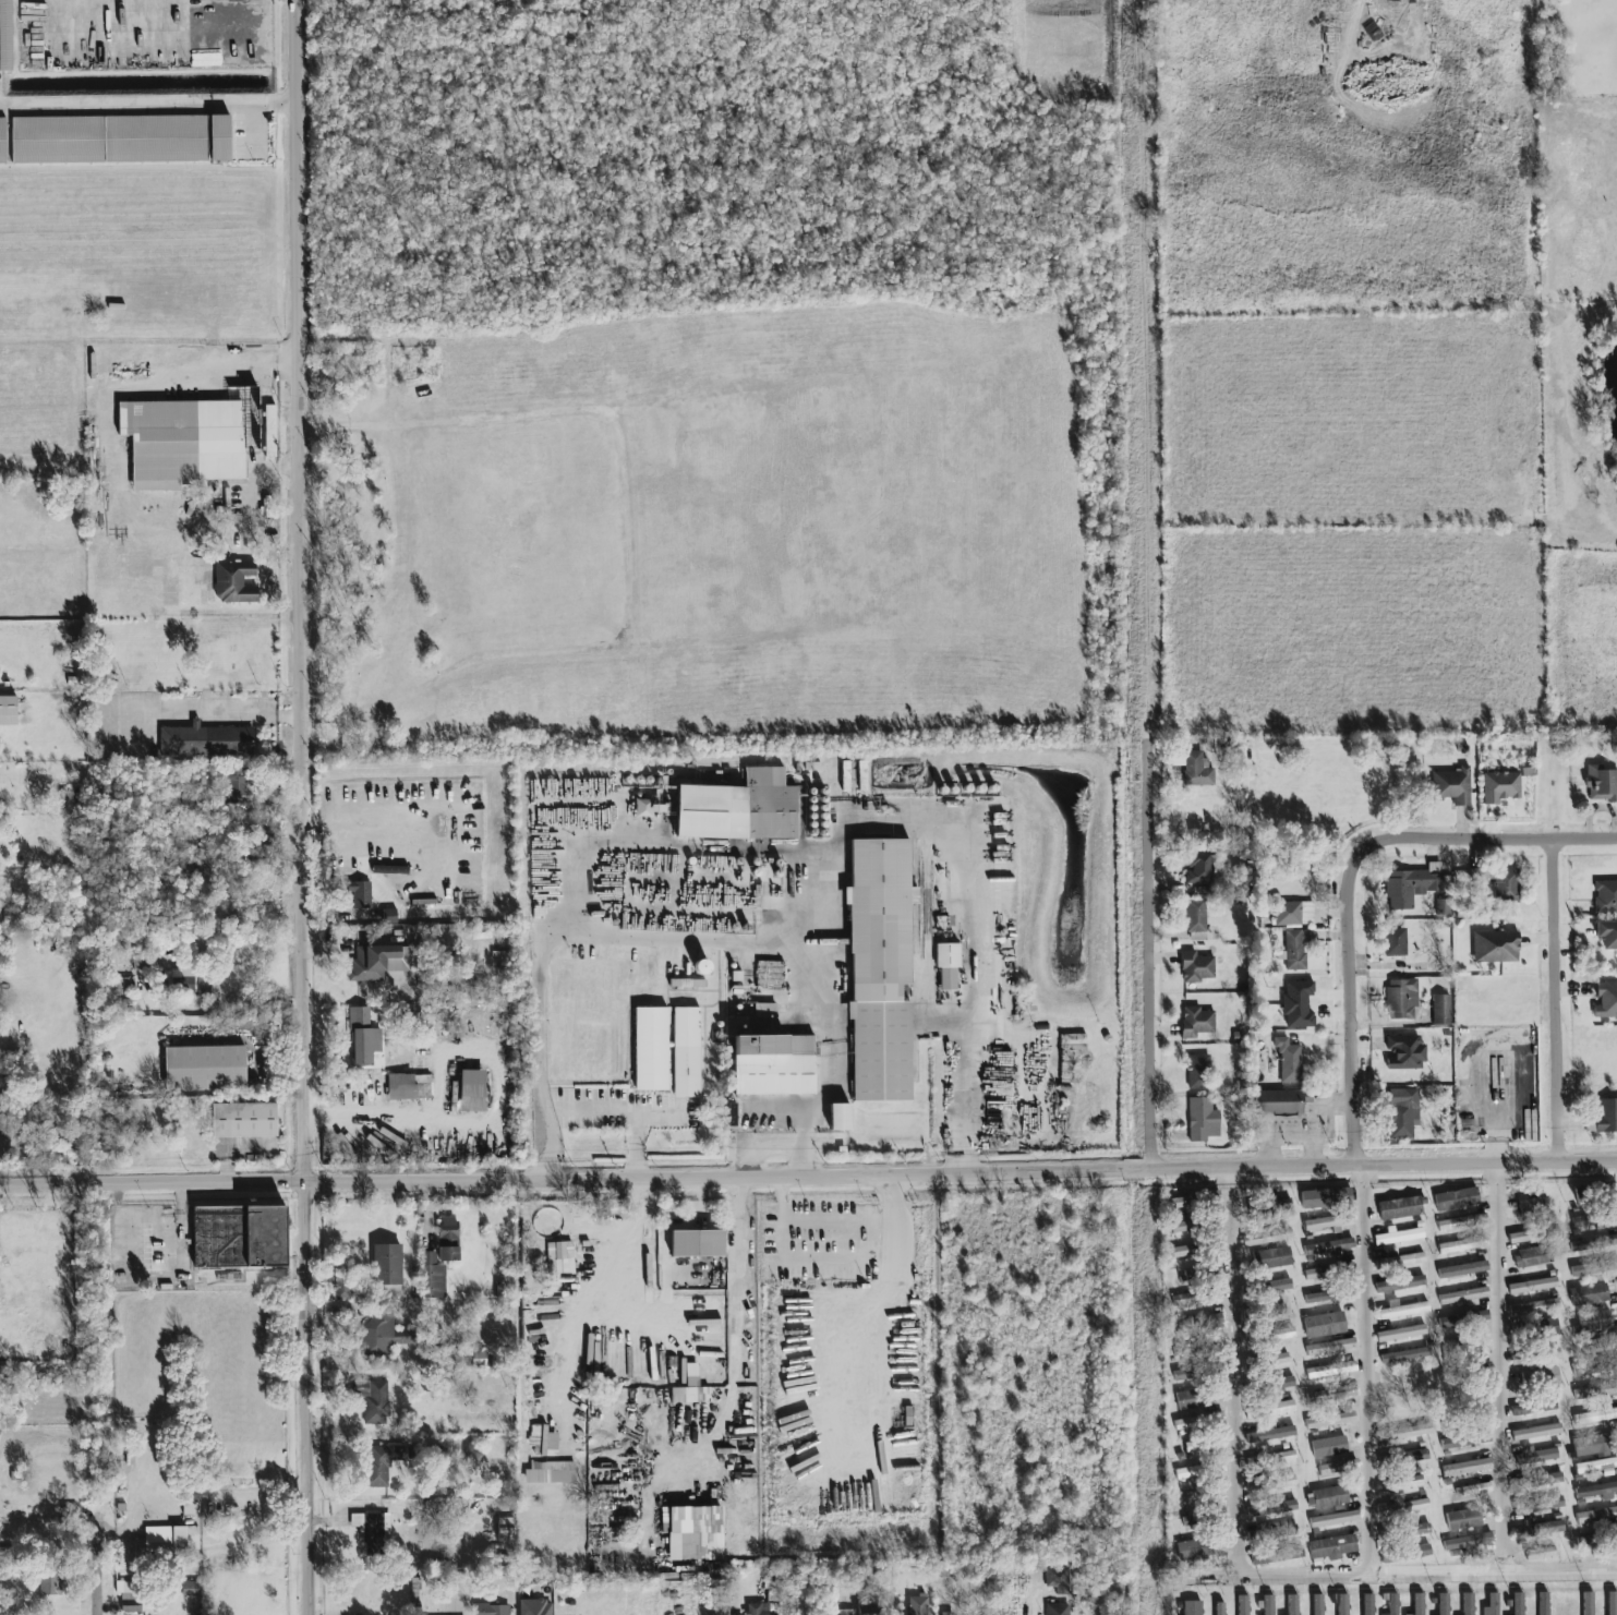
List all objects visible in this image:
building: (4, 35)
road: (147, 104)
road: (251, 131)
building: (120, 138)
building: (2, 141)
road: (1145, 365)
road: (145, 386)
road: (254, 419)
building: (269, 431)
building: (182, 442)
building: (233, 582)
building: (7, 710)
road: (214, 716)
building: (206, 740)
building: (1195, 770)
building: (860, 775)
building: (844, 776)
building: (240, 783)
building: (1601, 783)
building: (1452, 785)
building: (1499, 787)
road: (300, 807)
building: (642, 808)
building: (738, 808)
road: (406, 810)
road: (894, 821)
road: (1448, 837)
building: (1198, 868)
building: (389, 870)
building: (1505, 883)
building: (1413, 885)
building: (361, 894)
building: (1605, 896)
building: (1287, 914)
building: (389, 916)
building: (1195, 916)
building: (1606, 933)
road: (571, 935)
building: (1396, 942)
building: (1495, 947)
building: (1295, 949)
road: (1147, 951)
building: (377, 962)
building: (946, 965)
building: (1196, 967)
building: (879, 969)
building: (769, 975)
building: (190, 981)
building: (687, 983)
building: (123, 984)
building: (1400, 999)
road: (1558, 1000)
building: (1606, 1000)
road: (252, 1004)
building: (1298, 1004)
building: (1440, 1009)
building: (764, 1010)
building: (1195, 1022)
building: (735, 1026)
building: (443, 1027)
building: (362, 1037)
building: (1071, 1046)
road: (1352, 1047)
building: (650, 1049)
building: (685, 1052)
building: (1404, 1052)
building: (1288, 1060)
building: (773, 1065)
building: (204, 1068)
building: (1197, 1072)
building: (407, 1087)
building: (471, 1090)
building: (1279, 1101)
building: (1402, 1112)
building: (1606, 1116)
building: (838, 1117)
building: (242, 1120)
building: (1202, 1120)
road: (546, 1170)
road: (808, 1176)
building: (1581, 1194)
building: (1209, 1196)
building: (1326, 1198)
building: (1457, 1200)
building: (1182, 1202)
building: (1538, 1206)
building: (1279, 1207)
building: (1400, 1207)
building: (1593, 1220)
road: (837, 1222)
building: (1462, 1222)
building: (1181, 1227)
building: (1532, 1234)
building: (1398, 1236)
building: (1266, 1237)
building: (238, 1238)
building: (1594, 1243)
building: (695, 1244)
building: (1463, 1245)
building: (1337, 1246)
building: (1183, 1252)
building: (1534, 1255)
building: (559, 1257)
building: (439, 1258)
building: (1268, 1258)
building: (1397, 1262)
building: (386, 1268)
building: (1593, 1268)
building: (1462, 1269)
building: (1327, 1270)
building: (1203, 1271)
building: (1400, 1283)
building: (1276, 1286)
building: (1532, 1286)
building: (345, 1288)
building: (1329, 1294)
building: (1589, 1295)
building: (1203, 1297)
building: (1463, 1297)
building: (1184, 1299)
building: (1534, 1307)
building: (1403, 1309)
road: (683, 1310)
building: (1276, 1310)
building: (1463, 1319)
building: (1594, 1321)
building: (1197, 1323)
building: (1324, 1324)
building: (1535, 1331)
building: (1401, 1333)
building: (378, 1334)
building: (1272, 1335)
building: (1601, 1342)
building: (1330, 1347)
building: (1192, 1348)
building: (1463, 1348)
building: (1408, 1353)
building: (1535, 1355)
building: (479, 1359)
building: (1266, 1361)
building: (1613, 1364)
road: (1500, 1367)
building: (1588, 1369)
building: (1331, 1370)
road: (1366, 1370)
building: (1195, 1371)
road: (1234, 1371)
building: (1543, 1378)
building: (1276, 1381)
building: (1284, 1383)
road: (734, 1384)
building: (1595, 1390)
road: (1151, 1393)
building: (689, 1395)
building: (1330, 1395)
road: (97, 1399)
building: (1188, 1400)
building: (376, 1402)
building: (1533, 1408)
building: (1269, 1409)
building: (1595, 1415)
building: (1336, 1420)
building: (1198, 1422)
building: (1408, 1432)
building: (1535, 1432)
building: (1270, 1434)
building: (542, 1438)
building: (1214, 1442)
building: (1465, 1443)
building: (1593, 1445)
building: (1328, 1446)
building: (1185, 1447)
building: (1535, 1457)
building: (1407, 1458)
building: (1271, 1459)
building: (1596, 1465)
building: (377, 1467)
building: (1338, 1467)
building: (1465, 1467)
building: (550, 1473)
building: (1186, 1473)
building: (1542, 1480)
building: (1403, 1482)
building: (1269, 1484)
building: (1476, 1487)
building: (1596, 1491)
building: (1329, 1496)
building: (1186, 1497)
building: (1537, 1505)
building: (1407, 1506)
building: (190, 1508)
building: (1271, 1509)
building: (1595, 1515)
building: (1462, 1518)
building: (1205, 1519)
building: (1334, 1519)
building: (689, 1530)
building: (1419, 1530)
building: (1538, 1530)
building: (503, 1531)
building: (371, 1532)
building: (185, 1538)
building: (1467, 1542)
building: (1585, 1542)
building: (1200, 1544)
building: (1331, 1546)
building: (149, 1547)
building: (1267, 1552)
building: (1540, 1553)
building: (1404, 1554)
building: (123, 1565)
road: (1428, 1575)
building: (1057, 1576)
building: (48, 1584)
building: (190, 1589)
building: (130, 1602)
building: (1339, 1603)
building: (1542, 1603)
building: (1586, 1603)
building: (1612, 1603)
building: (1292, 1604)
building: (1367, 1604)
building: (1392, 1604)
building: (1417, 1604)
building: (1443, 1604)
building: (1467, 1604)
building: (1493, 1604)
building: (1517, 1604)
building: (1242, 1605)
building: (1267, 1605)
building: (1316, 1605)
building: (916, 1606)
building: (534, 1607)
building: (1192, 1607)
building: (1218, 1608)
building: (492, 1610)
building: (756, 1610)
building: (1057, 1610)
building: (849, 1611)
building: (946, 1614)

